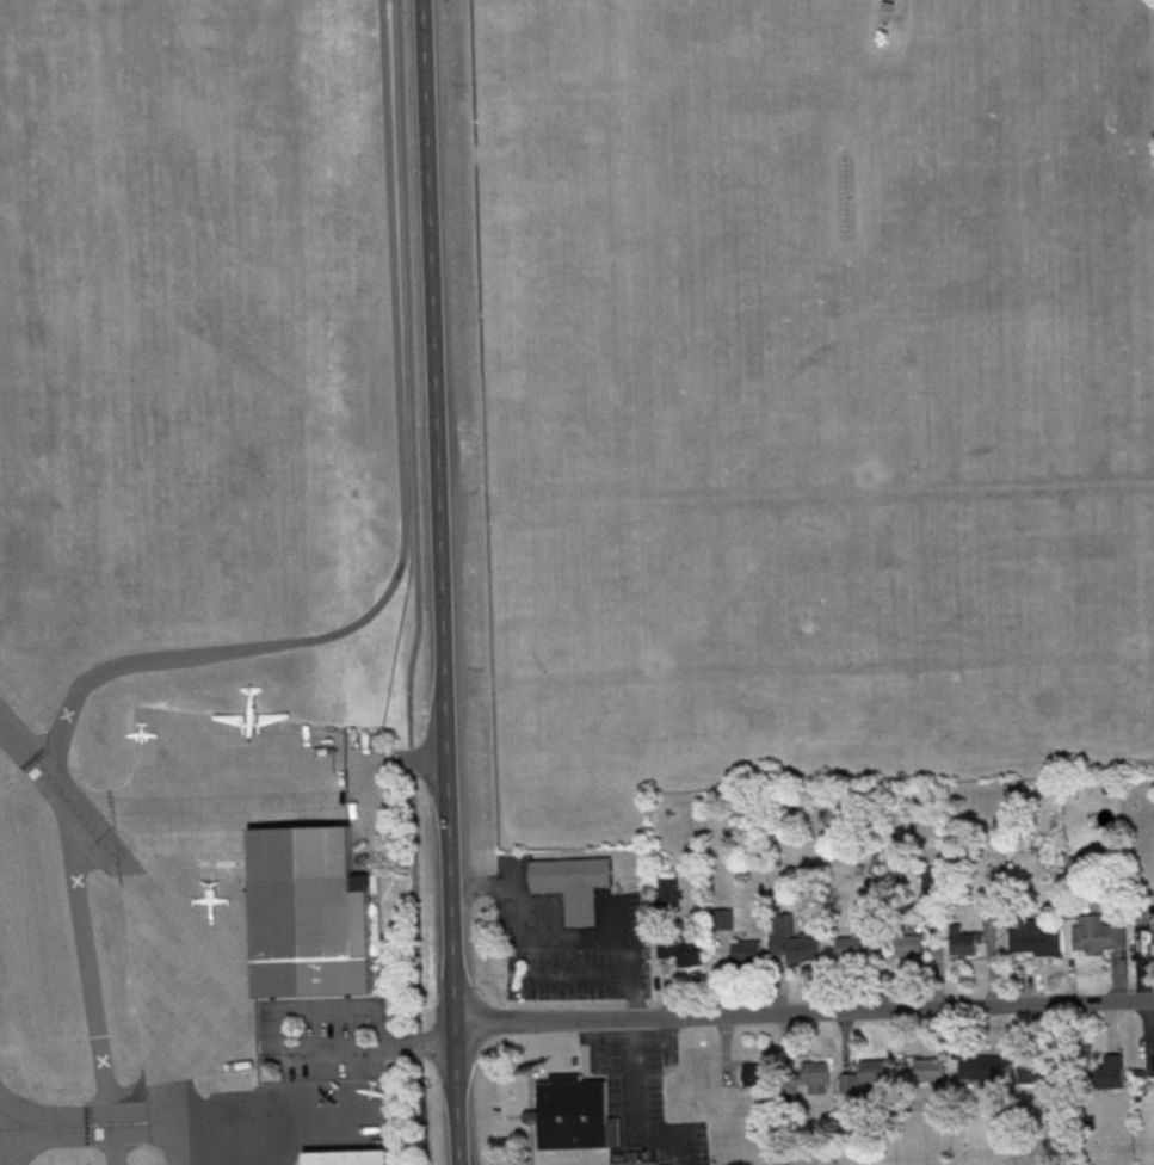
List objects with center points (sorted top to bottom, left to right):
airport: (196, 579)
road: (448, 581)
road: (416, 582)
road: (290, 641)
airport taxiway: (60, 791)
airport apron: (208, 870)
building: (930, 877)
building: (573, 883)
building: (668, 889)
building: (985, 905)
building: (870, 906)
building: (309, 912)
building: (722, 917)
building: (1097, 933)
building: (1033, 937)
building: (791, 939)
building: (963, 941)
building: (909, 944)
building: (684, 947)
building: (854, 948)
building: (746, 950)
road: (526, 972)
road: (808, 1011)
road: (289, 1048)
building: (1033, 1065)
building: (981, 1066)
building: (921, 1068)
building: (1106, 1071)
building: (755, 1073)
building: (864, 1074)
building: (809, 1078)
airport taxiway: (165, 1104)
building: (575, 1112)
airport taxiway: (166, 1120)
airport apron: (284, 1120)
airport taxiway: (73, 1123)
building: (347, 1157)

